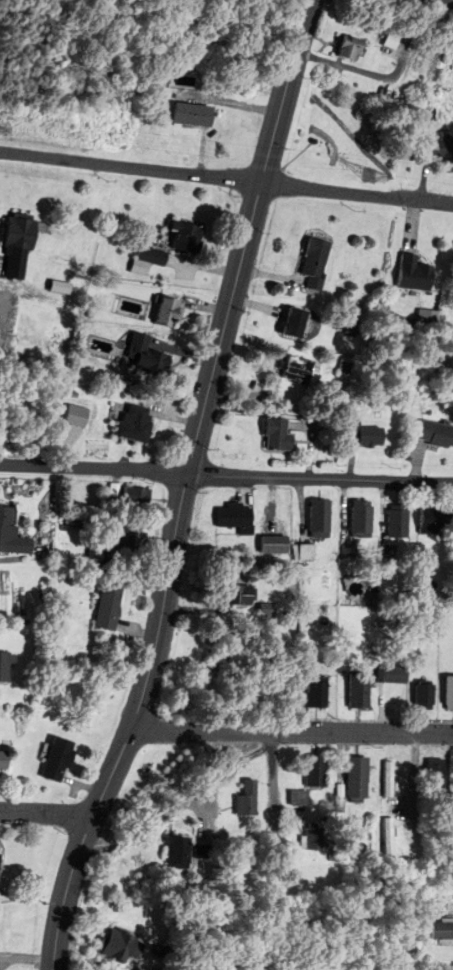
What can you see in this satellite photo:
building: (339, 48)
building: (183, 115)
building: (434, 148)
road: (226, 177)
building: (11, 231)
building: (178, 237)
building: (142, 260)
building: (306, 262)
building: (409, 274)
building: (160, 313)
building: (283, 323)
building: (136, 358)
building: (291, 370)
building: (126, 423)
building: (267, 435)
building: (357, 435)
building: (431, 435)
road: (94, 470)
road: (320, 478)
road: (185, 487)
building: (126, 498)
building: (229, 517)
building: (311, 517)
building: (353, 518)
building: (420, 519)
building: (389, 520)
building: (450, 520)
building: (8, 538)
building: (119, 538)
building: (298, 550)
building: (286, 584)
building: (234, 594)
building: (101, 607)
building: (257, 611)
building: (7, 666)
building: (385, 674)
building: (350, 689)
building: (444, 691)
building: (305, 693)
building: (415, 695)
road: (292, 728)
building: (49, 759)
building: (6, 761)
building: (306, 770)
building: (426, 772)
road: (267, 777)
building: (347, 778)
building: (380, 778)
building: (289, 797)
building: (237, 799)
road: (47, 812)
building: (379, 835)
building: (297, 841)
building: (169, 851)
building: (430, 927)
building: (106, 945)

